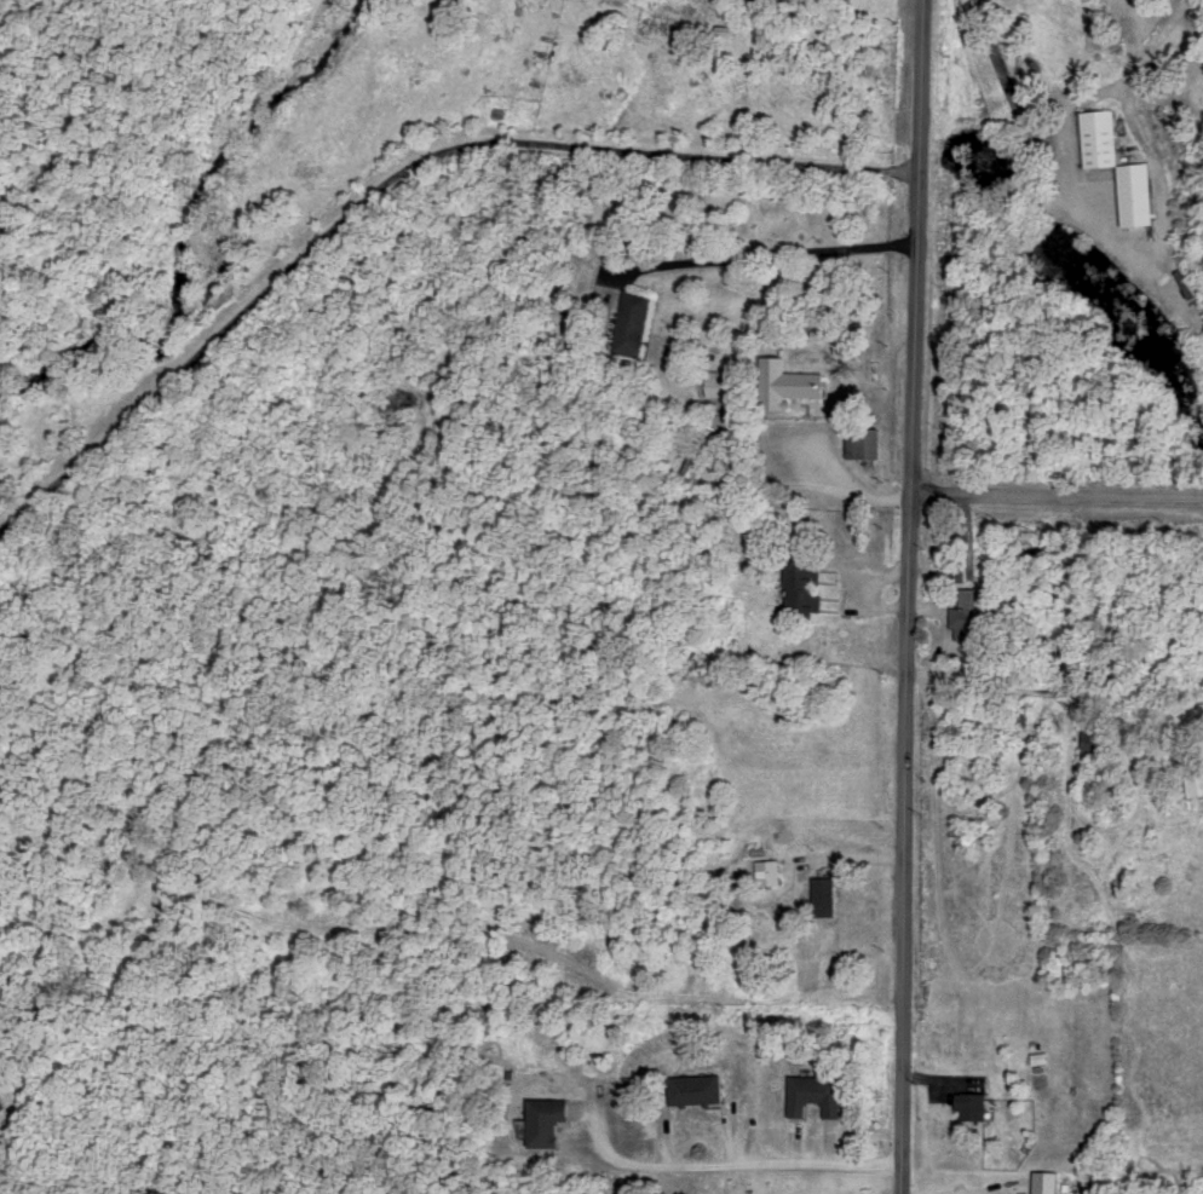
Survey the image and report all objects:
building: (1101, 137)
road: (395, 178)
building: (1138, 192)
road: (922, 247)
building: (632, 321)
building: (719, 381)
building: (788, 382)
building: (865, 442)
building: (698, 450)
road: (846, 491)
road: (1057, 501)
building: (796, 587)
road: (910, 596)
building: (962, 615)
building: (1089, 742)
building: (1192, 781)
building: (762, 871)
building: (819, 894)
road: (592, 951)
building: (690, 1088)
building: (810, 1092)
building: (1, 1103)
building: (967, 1103)
building: (539, 1119)
road: (730, 1166)
building: (1038, 1181)

